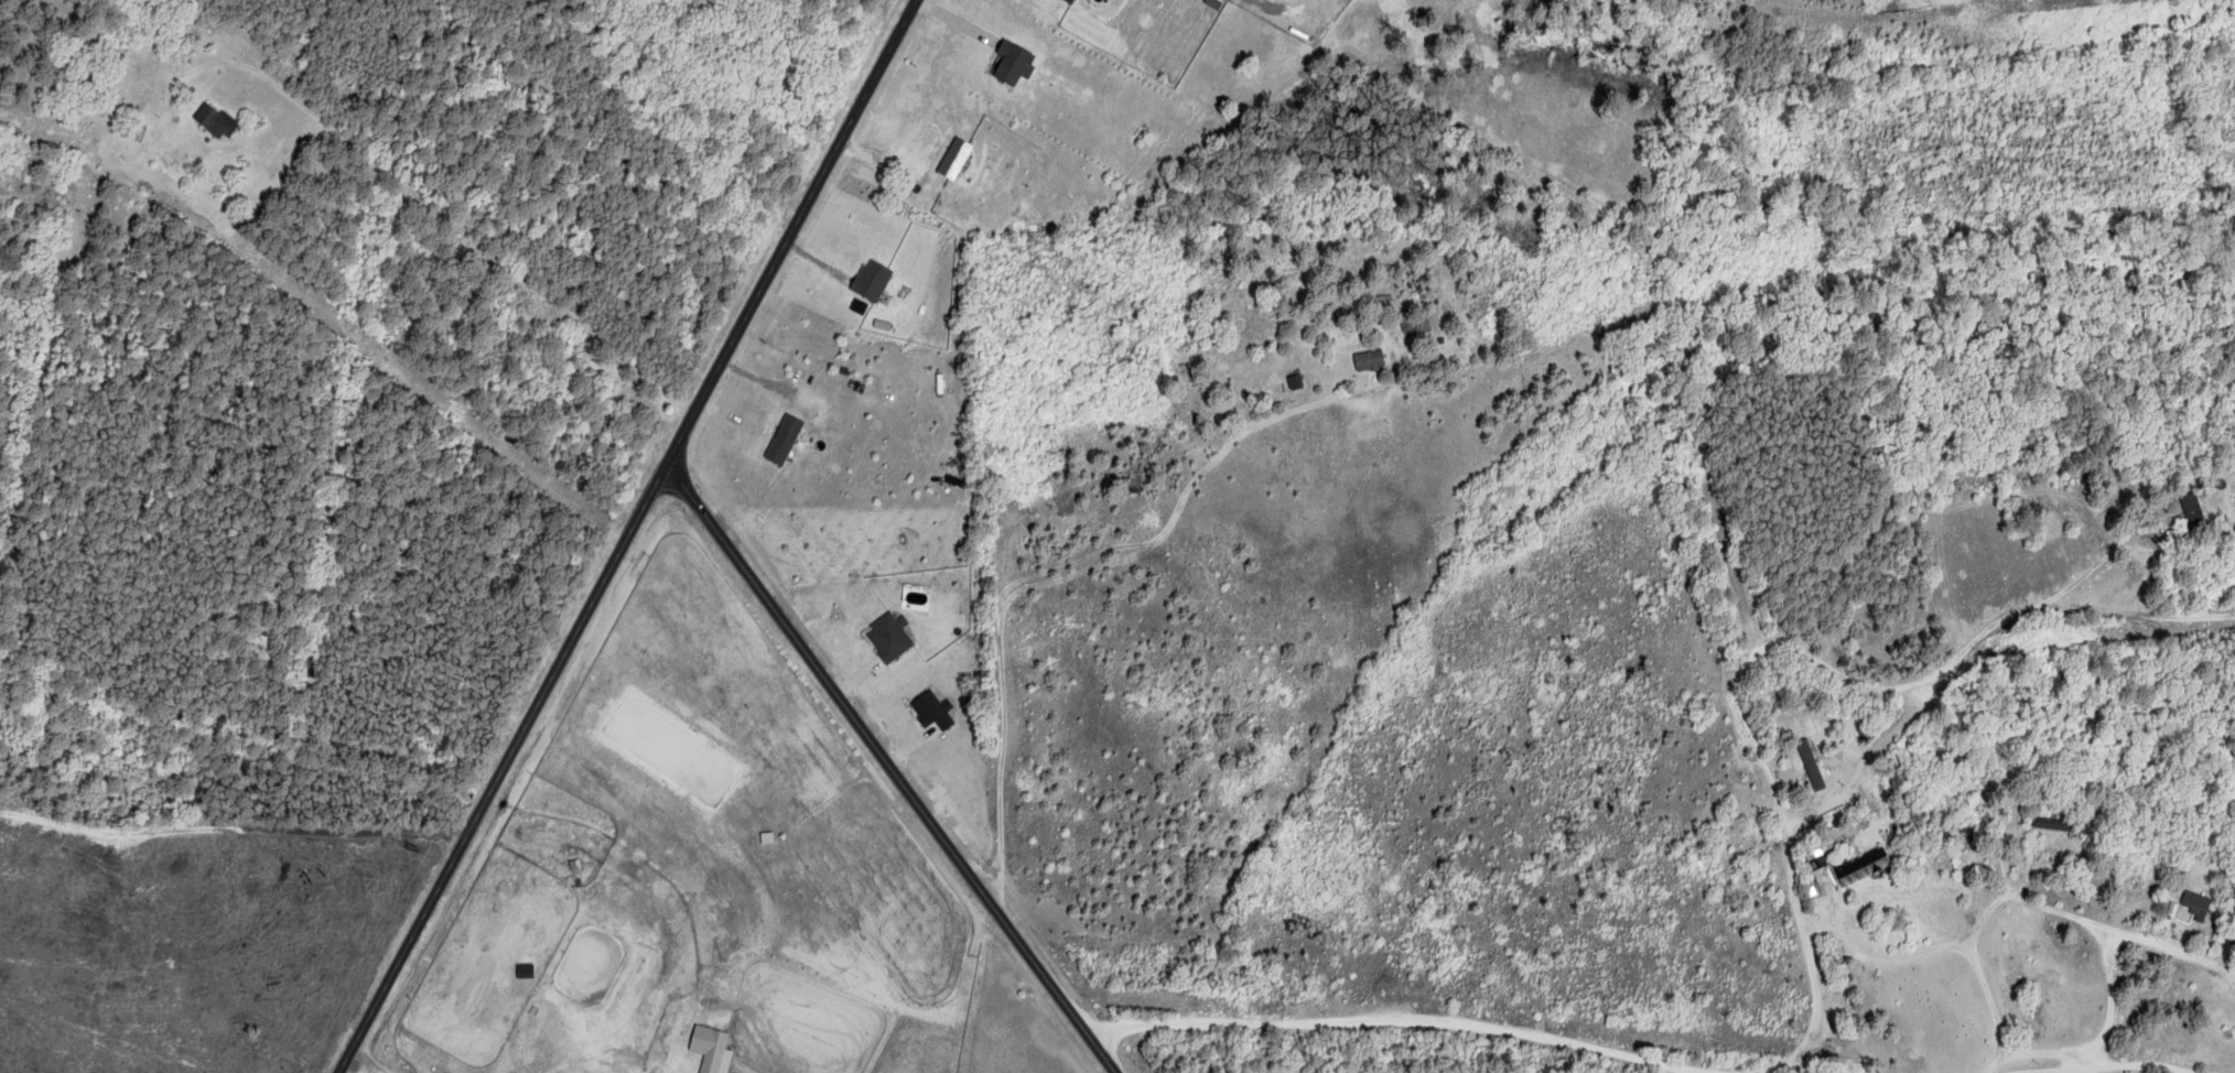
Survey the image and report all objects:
building: (1069, 0)
road: (1262, 10)
building: (1013, 62)
building: (215, 119)
building: (953, 156)
building: (871, 279)
building: (1414, 328)
building: (1368, 358)
building: (1294, 380)
building: (782, 438)
building: (2191, 507)
road: (1015, 519)
road: (630, 536)
road: (2138, 609)
building: (889, 636)
road: (1735, 703)
building: (930, 709)
building: (1811, 763)
road: (892, 771)
road: (1962, 772)
building: (2048, 822)
road: (235, 828)
building: (1816, 857)
building: (1862, 865)
building: (2195, 902)
road: (2066, 913)
road: (2163, 947)
road: (2117, 952)
road: (1880, 954)
building: (523, 969)
road: (1407, 1021)
building: (711, 1049)
road: (1995, 1063)
road: (2103, 1063)
road: (365, 1064)
road: (1788, 1072)

